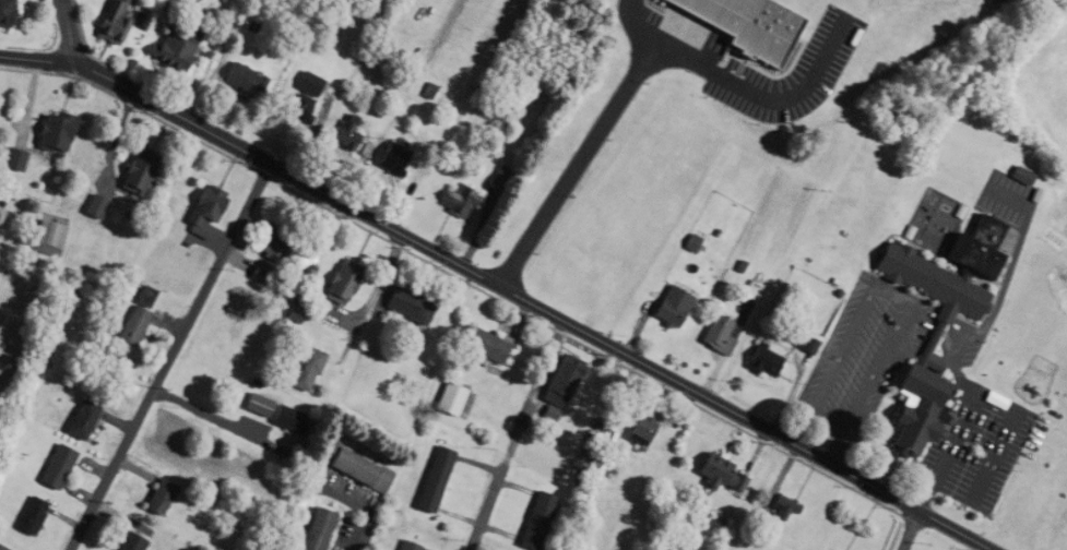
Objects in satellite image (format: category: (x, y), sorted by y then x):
building: (4, 12)
building: (109, 21)
building: (745, 26)
road: (68, 31)
building: (175, 43)
building: (242, 80)
building: (300, 95)
building: (51, 130)
building: (346, 132)
building: (12, 158)
building: (391, 158)
road: (573, 167)
building: (134, 170)
building: (1019, 175)
building: (500, 176)
building: (457, 201)
building: (94, 205)
building: (202, 211)
building: (46, 237)
building: (266, 243)
building: (973, 246)
building: (257, 272)
road: (380, 278)
building: (339, 280)
road: (499, 288)
road: (894, 292)
building: (405, 304)
building: (669, 306)
building: (292, 313)
building: (131, 324)
building: (715, 334)
building: (921, 340)
building: (482, 344)
road: (170, 356)
building: (761, 359)
building: (304, 368)
building: (567, 368)
road: (981, 396)
building: (448, 398)
road: (209, 414)
building: (81, 419)
building: (286, 419)
building: (638, 429)
building: (351, 466)
building: (56, 467)
building: (967, 470)
building: (716, 471)
building: (431, 479)
building: (156, 495)
road: (358, 502)
road: (488, 505)
building: (780, 510)
building: (29, 515)
building: (534, 519)
building: (313, 529)
road: (911, 530)
building: (128, 541)
building: (405, 545)
road: (2, 548)

